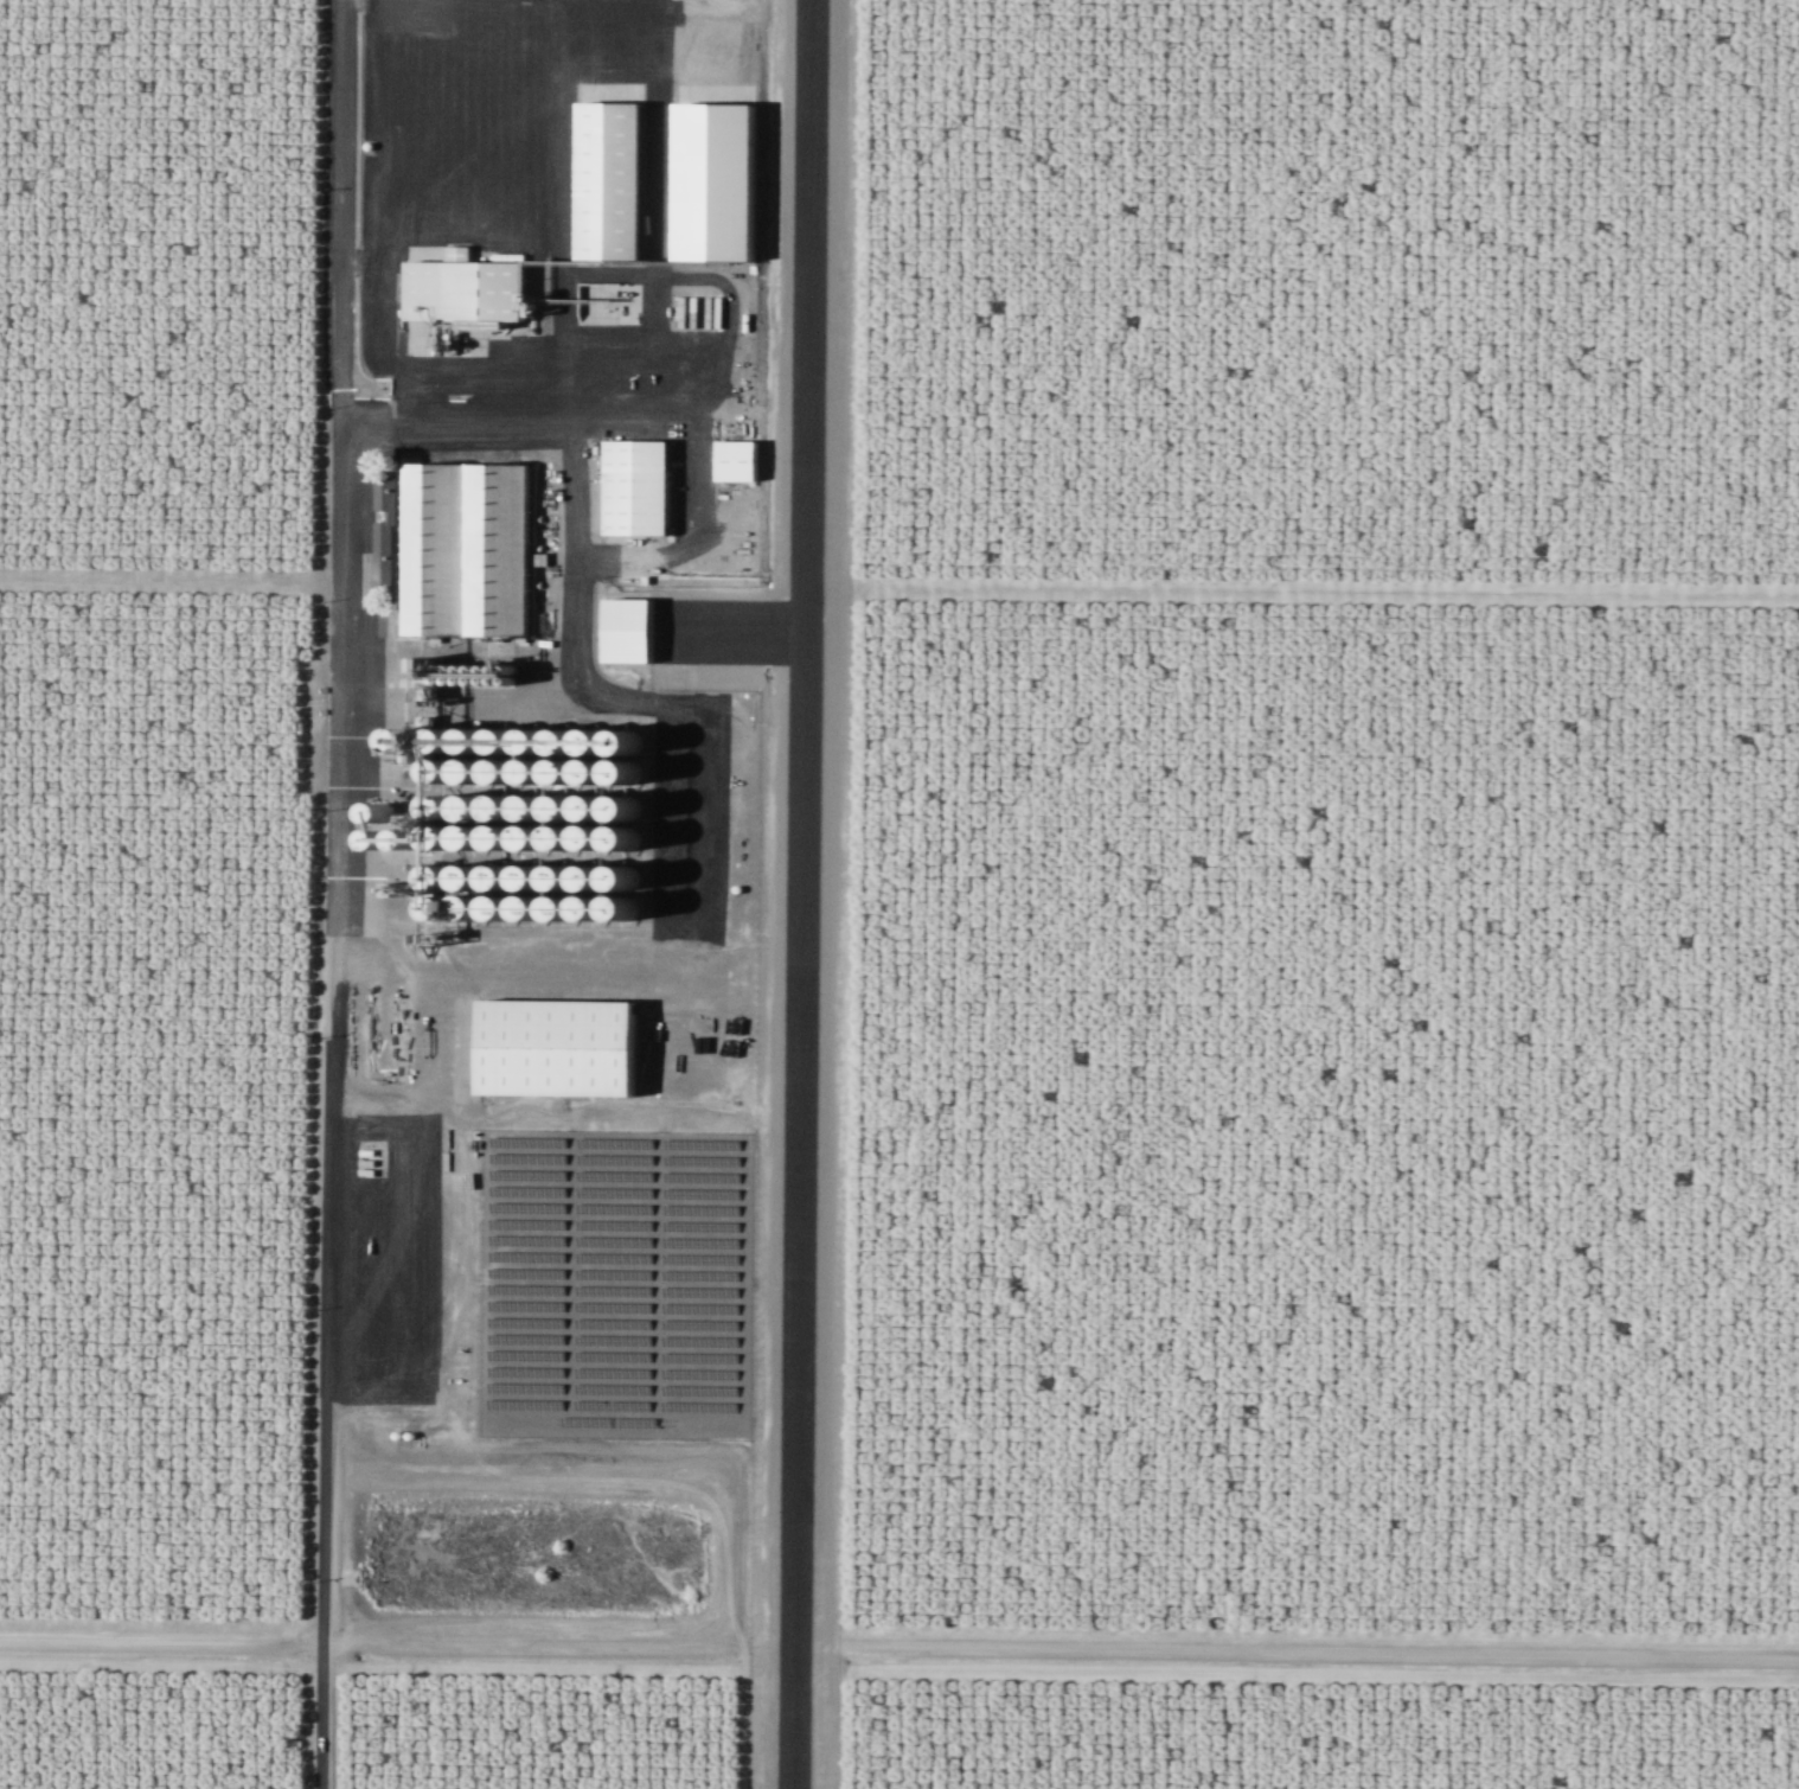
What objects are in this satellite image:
building: (616, 178)
building: (724, 180)
building: (470, 289)
building: (679, 311)
building: (713, 312)
building: (740, 459)
building: (639, 486)
building: (462, 550)
road: (171, 580)
road: (1324, 592)
building: (635, 631)
road: (676, 715)
airport: (788, 878)
road: (335, 894)
airport runway: (800, 894)
road: (846, 894)
building: (566, 1046)
solar farm: (614, 1282)
road: (160, 1638)
road: (1320, 1650)

